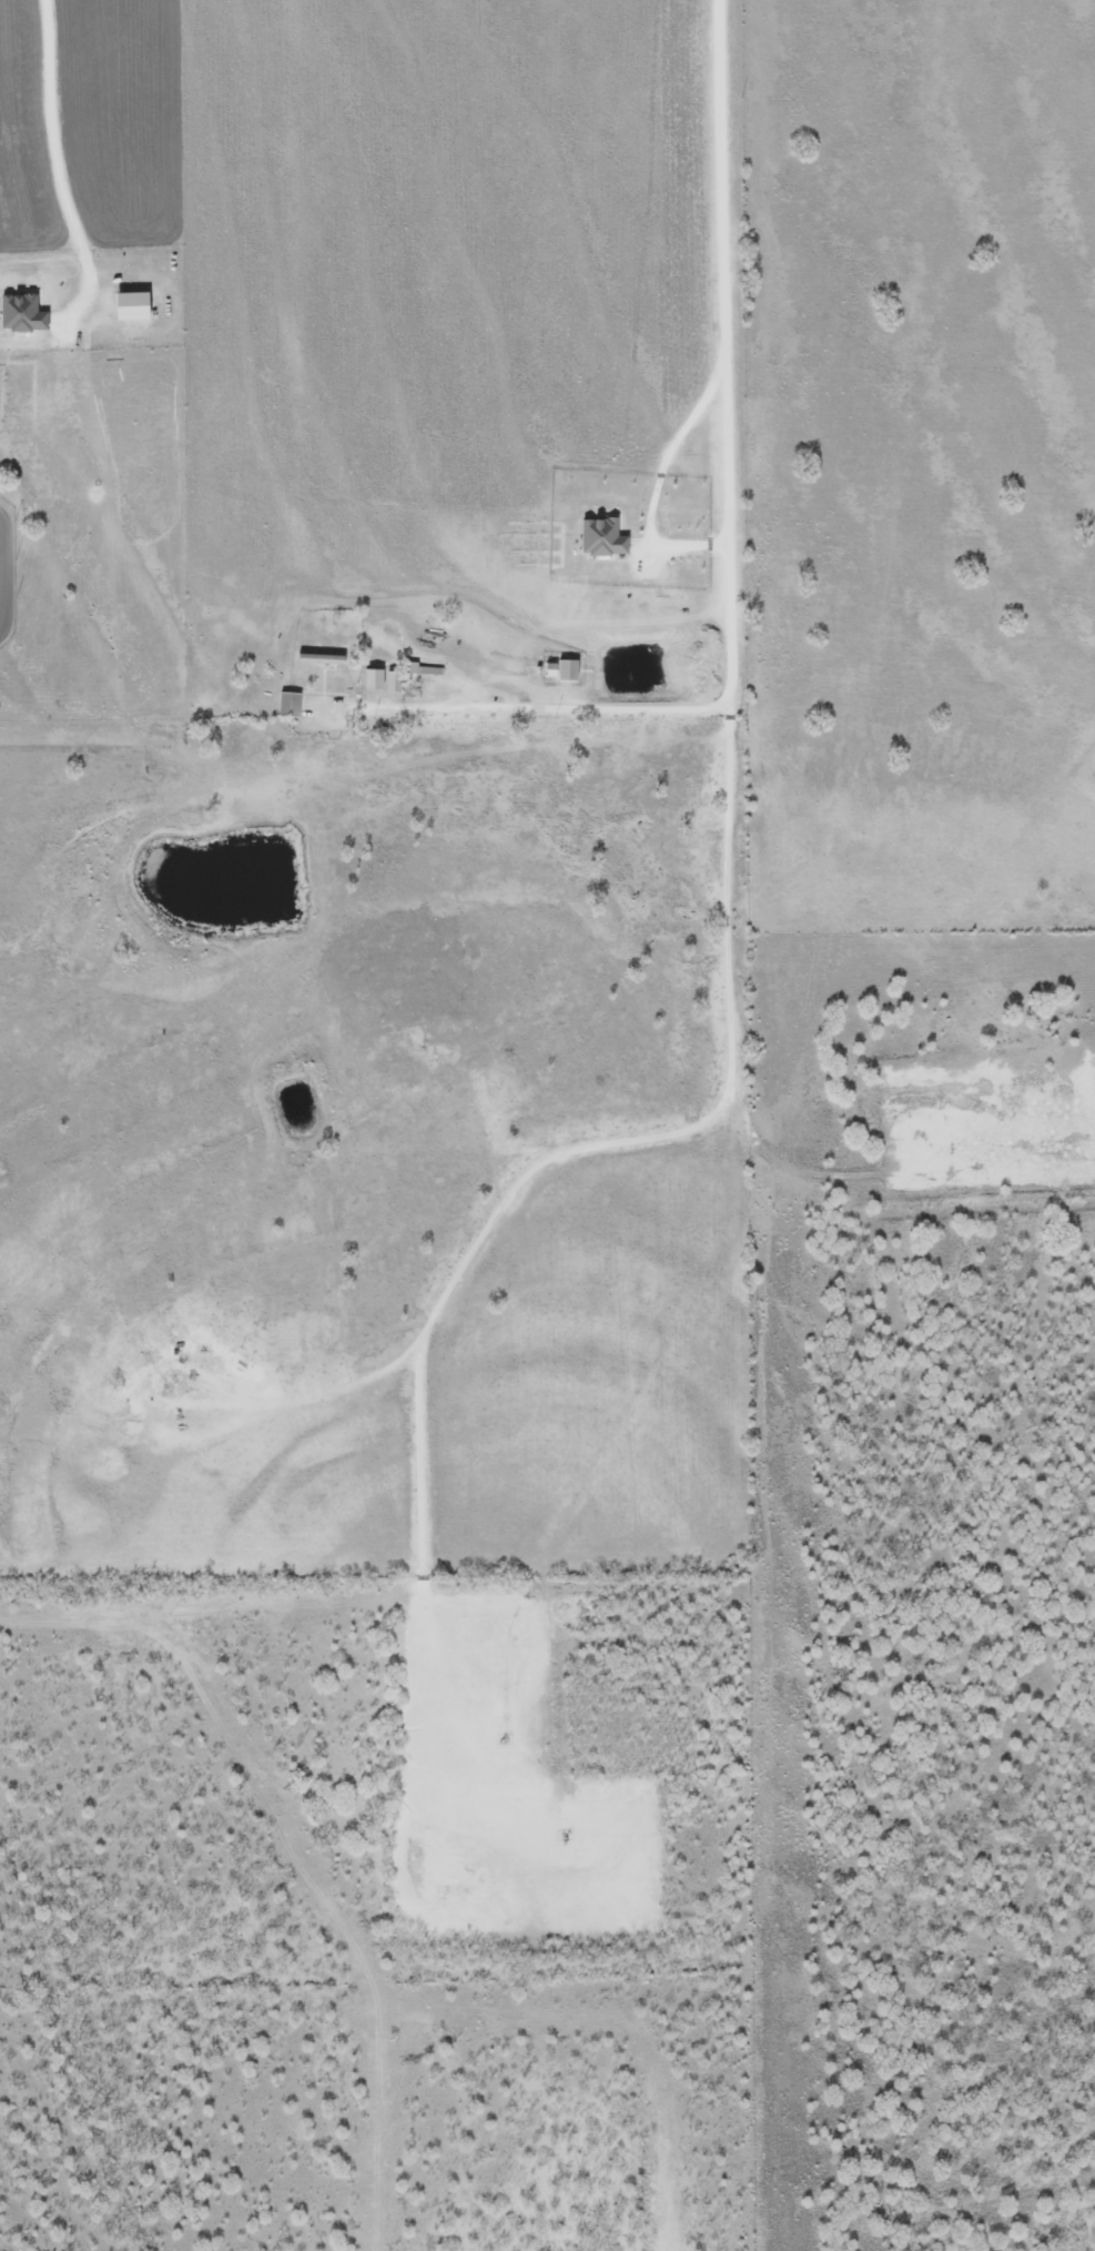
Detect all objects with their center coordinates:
building: (331, 648)
building: (567, 669)
building: (373, 679)
building: (288, 704)

